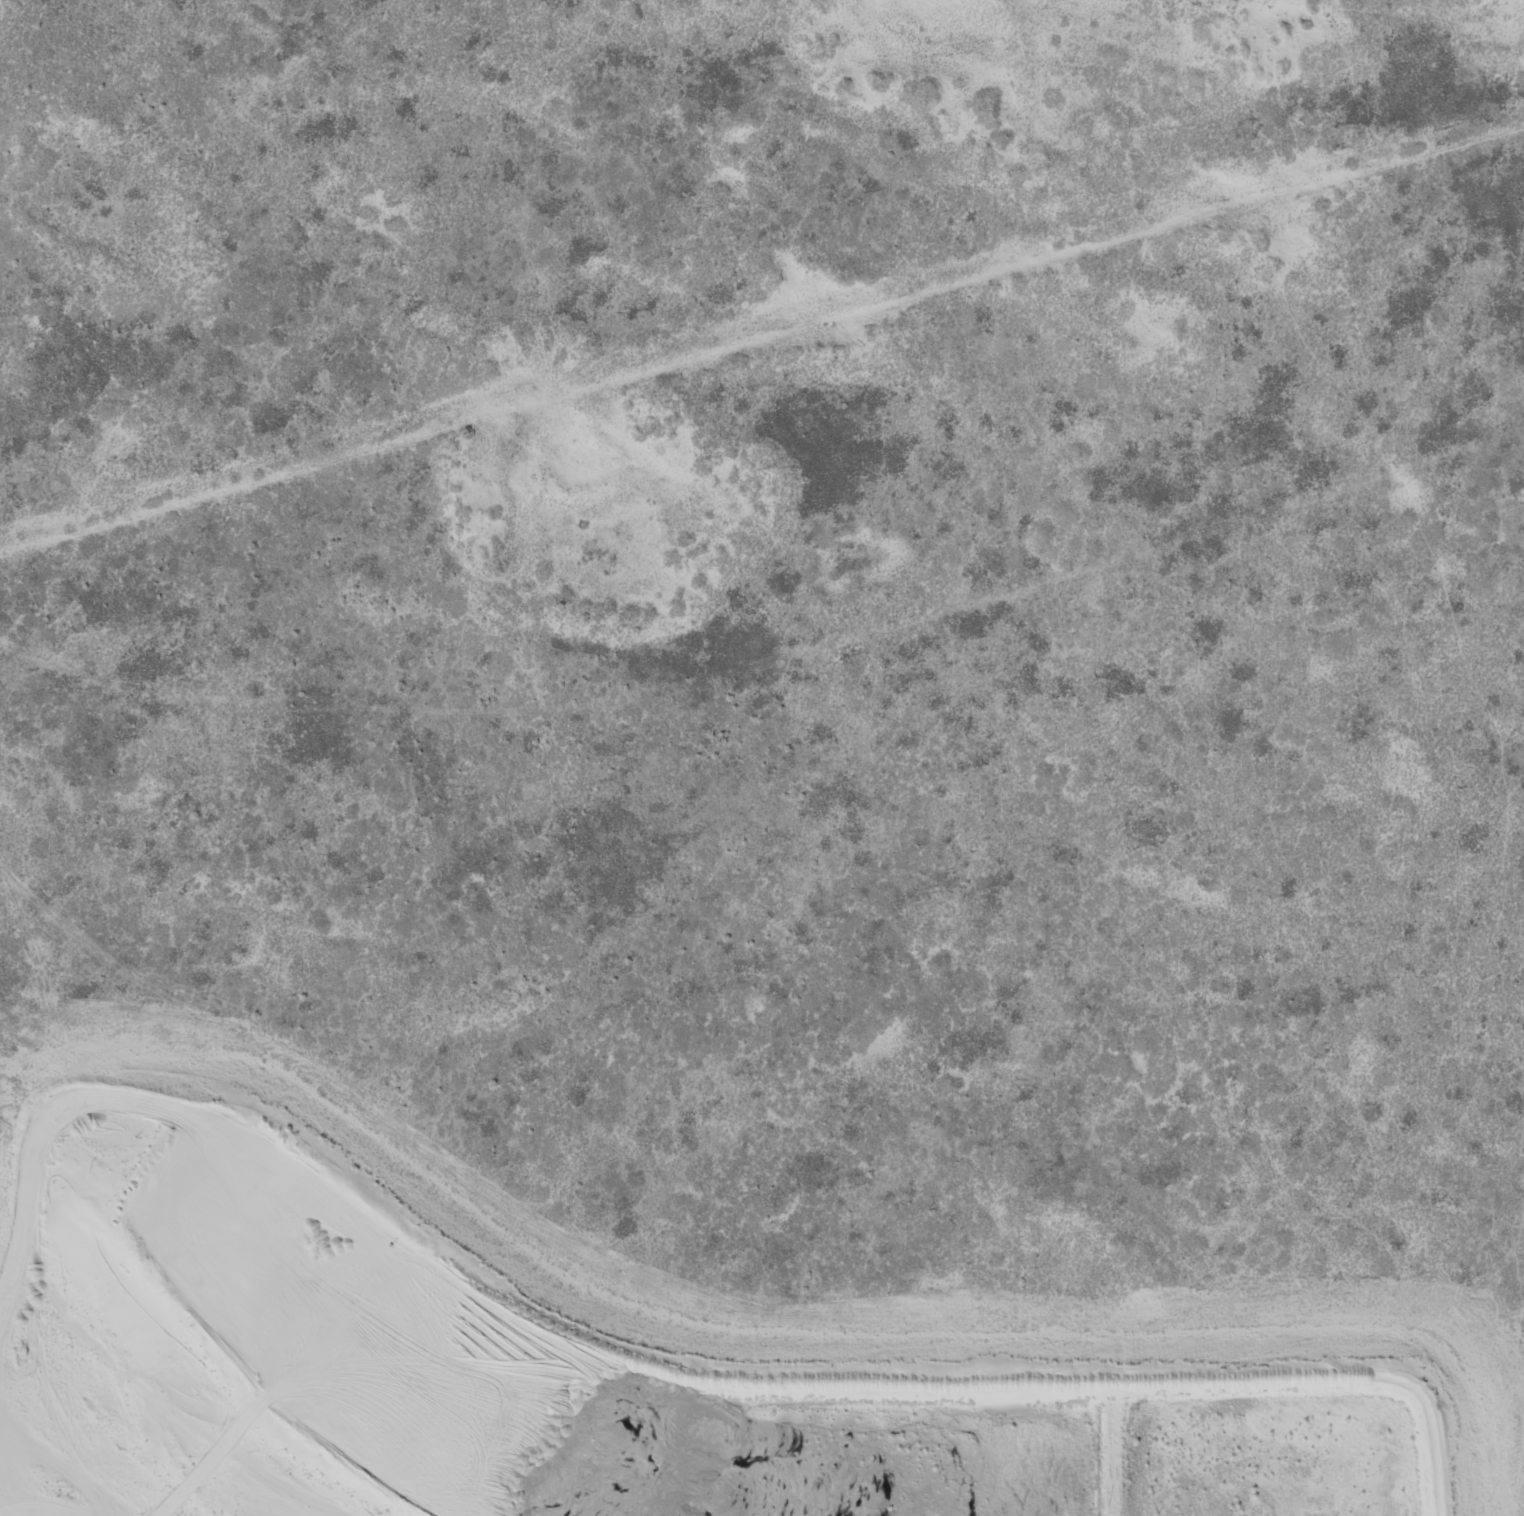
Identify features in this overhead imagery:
road: (22, 1434)
road: (18, 1494)

